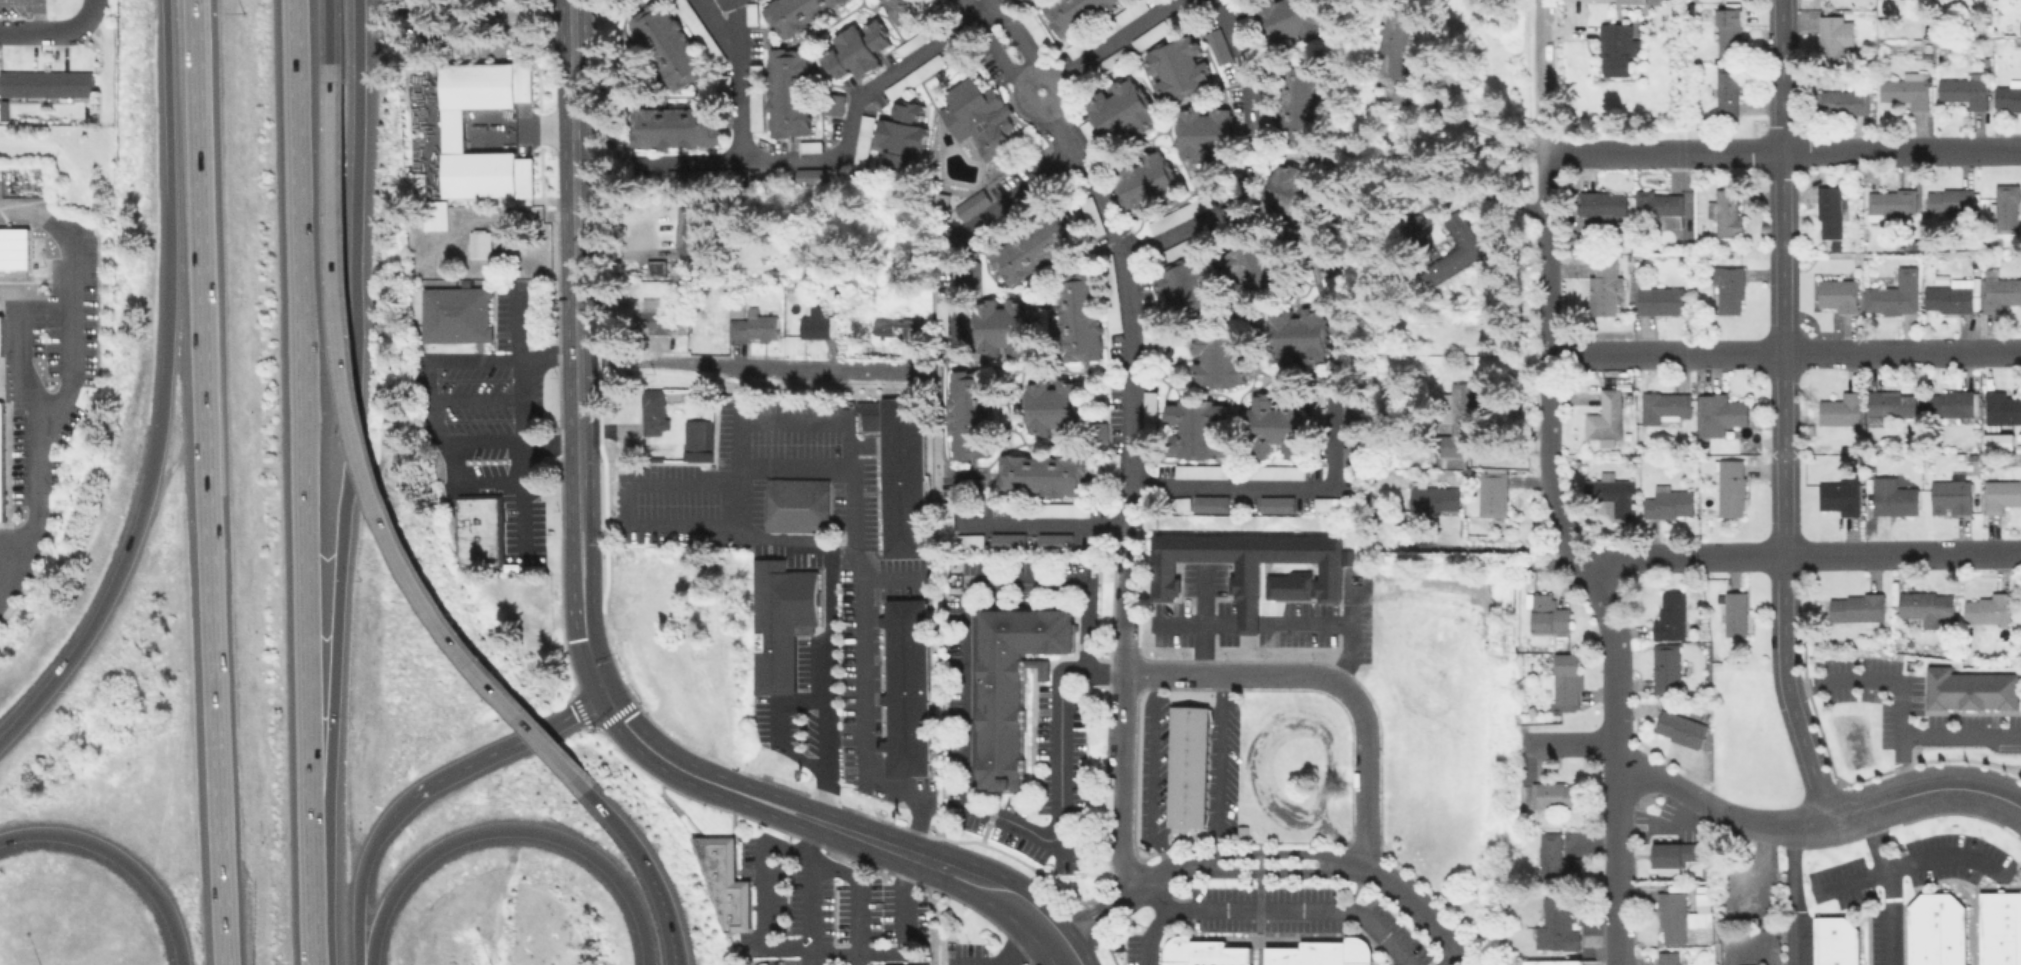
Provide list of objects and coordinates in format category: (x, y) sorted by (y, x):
building: (1629, 1)
building: (1017, 2)
road: (709, 4)
road: (89, 7)
building: (902, 9)
building: (1073, 12)
building: (750, 13)
parking lot: (750, 13)
building: (796, 13)
building: (1127, 13)
parking lot: (1177, 17)
building: (1286, 20)
building: (1728, 23)
parking lot: (1104, 27)
road: (716, 28)
building: (1157, 29)
road: (46, 30)
parking lot: (699, 30)
road: (329, 31)
building: (699, 31)
building: (1035, 31)
parking lot: (1036, 32)
road: (1016, 34)
parking lot: (922, 35)
parking lot: (1148, 35)
building: (1833, 35)
road: (1119, 36)
building: (1391, 39)
road: (989, 42)
building: (910, 43)
building: (668, 44)
building: (1217, 45)
building: (1076, 47)
building: (1615, 48)
building: (855, 49)
building: (1108, 61)
parking lot: (1103, 65)
building: (1176, 67)
road: (1029, 73)
parking lot: (912, 76)
building: (913, 76)
road: (737, 80)
building: (45, 82)
parking lot: (724, 83)
building: (483, 85)
fountain: (1039, 89)
building: (1726, 90)
building: (787, 91)
building: (1905, 91)
building: (1963, 92)
road: (571, 93)
building: (2008, 95)
parking lot: (755, 96)
building: (1841, 101)
building: (755, 103)
building: (834, 103)
building: (1301, 106)
building: (1119, 110)
building: (977, 116)
building: (1263, 117)
road: (1466, 122)
building: (675, 126)
parking lot: (1088, 132)
building: (1204, 132)
building: (900, 133)
road: (844, 140)
parking lot: (861, 140)
building: (862, 141)
building: (809, 146)
parking lot: (809, 146)
road: (1779, 151)
road: (1249, 162)
building: (481, 172)
building: (812, 175)
building: (1143, 181)
building: (1289, 199)
building: (1950, 201)
building: (1601, 203)
building: (971, 204)
building: (1890, 204)
building: (1658, 206)
building: (2004, 206)
building: (1725, 210)
building: (1829, 210)
building: (1178, 213)
parking lot: (1178, 214)
building: (1090, 215)
parking lot: (1090, 215)
road: (352, 223)
road: (966, 228)
building: (687, 229)
building: (479, 242)
building: (1031, 246)
building: (1455, 248)
building: (14, 249)
parking lot: (1172, 250)
building: (1175, 250)
building: (655, 269)
building: (1248, 269)
road: (574, 272)
building: (970, 276)
building: (1603, 288)
building: (1727, 288)
building: (1180, 290)
building: (1998, 291)
parking lot: (1109, 292)
road: (9, 293)
building: (1837, 294)
building: (1892, 294)
building: (1949, 296)
building: (1110, 300)
building: (1659, 300)
road: (67, 307)
building: (455, 313)
building: (1078, 315)
parking lot: (940, 316)
building: (656, 317)
road: (516, 318)
road: (1782, 320)
building: (754, 325)
building: (1002, 325)
building: (816, 326)
building: (884, 326)
parking lot: (1146, 333)
building: (1, 334)
building: (1295, 334)
road: (1784, 349)
road: (547, 353)
road: (1130, 354)
road: (477, 357)
building: (1219, 358)
road: (745, 361)
road: (1022, 367)
road: (24, 377)
road: (162, 392)
road: (295, 396)
road: (476, 398)
building: (1317, 399)
parking lot: (1317, 401)
building: (1949, 403)
building: (1665, 405)
building: (1052, 406)
building: (1887, 406)
building: (2001, 407)
building: (1839, 409)
building: (1348, 411)
building: (652, 412)
building: (968, 413)
building: (1717, 413)
building: (1147, 415)
building: (1604, 415)
road: (760, 419)
parking lot: (1147, 423)
building: (1273, 425)
building: (1195, 427)
building: (1456, 428)
road: (577, 432)
building: (697, 439)
road: (481, 440)
building: (1997, 441)
road: (549, 444)
road: (357, 462)
building: (1111, 462)
building: (1349, 463)
road: (791, 464)
parking lot: (1112, 465)
building: (0, 469)
building: (900, 469)
parking lot: (1200, 470)
building: (1199, 471)
building: (1275, 471)
parking lot: (1275, 471)
building: (1042, 474)
road: (212, 482)
road: (1278, 486)
road: (1552, 486)
building: (1729, 487)
building: (1491, 492)
building: (1837, 493)
building: (1999, 493)
building: (1612, 495)
building: (1950, 495)
building: (1892, 497)
road: (854, 498)
building: (1433, 498)
building: (1209, 502)
parking lot: (1178, 503)
building: (1179, 503)
building: (1275, 503)
building: (1325, 503)
parking lot: (1325, 503)
building: (1668, 503)
building: (796, 504)
parking lot: (1048, 509)
building: (1060, 509)
parking lot: (944, 514)
building: (946, 515)
road: (1043, 523)
road: (644, 524)
building: (478, 531)
building: (1006, 539)
building: (968, 540)
parking lot: (968, 540)
building: (1052, 540)
road: (1481, 547)
road: (1801, 550)
road: (23, 555)
road: (571, 557)
building: (1245, 564)
building: (1288, 584)
road: (592, 598)
building: (1925, 605)
building: (1856, 607)
building: (1989, 608)
building: (1547, 613)
building: (1733, 613)
building: (1668, 615)
road: (323, 619)
building: (780, 619)
road: (1203, 621)
road: (1179, 622)
road: (1246, 623)
road: (1304, 623)
road: (1350, 632)
traffic signals: (576, 638)
road: (580, 655)
traffic signals: (603, 665)
building: (1664, 668)
road: (1233, 674)
road: (1869, 677)
road: (818, 680)
building: (1565, 680)
building: (1013, 685)
building: (906, 688)
building: (1969, 689)
road: (604, 694)
road: (864, 695)
traffic signals: (571, 712)
traffic signals: (612, 726)
building: (1679, 727)
road: (777, 728)
road: (1798, 730)
road: (1930, 733)
road: (1569, 742)
road: (968, 744)
road: (490, 752)
road: (1119, 757)
building: (1190, 766)
road: (1226, 768)
road: (1368, 773)
road: (1160, 774)
road: (1923, 789)
building: (1557, 794)
road: (1711, 805)
road: (1672, 811)
road: (856, 822)
road: (542, 830)
road: (815, 832)
building: (1672, 853)
road: (114, 854)
building: (1555, 856)
road: (1909, 861)
road: (1212, 863)
road: (647, 867)
road: (953, 869)
road: (304, 879)
building: (720, 879)
road: (1889, 883)
road: (358, 885)
road: (1792, 894)
road: (809, 896)
road: (857, 896)
road: (756, 901)
road: (1301, 908)
road: (1429, 908)
parking lot: (1295, 913)
building: (1670, 917)
road: (1159, 919)
building: (1554, 925)
building: (2000, 928)
building: (1936, 930)
road: (374, 932)
building: (1834, 940)
power substation: (1746, 948)
parking lot: (1131, 949)
road: (1024, 950)
road: (897, 951)
building: (1204, 951)
building: (1322, 952)
road: (180, 957)
road: (1054, 957)
road: (1454, 957)
building: (1668, 958)
building: (1553, 962)
road: (779, 963)
road: (1617, 963)
building: (878, 964)

